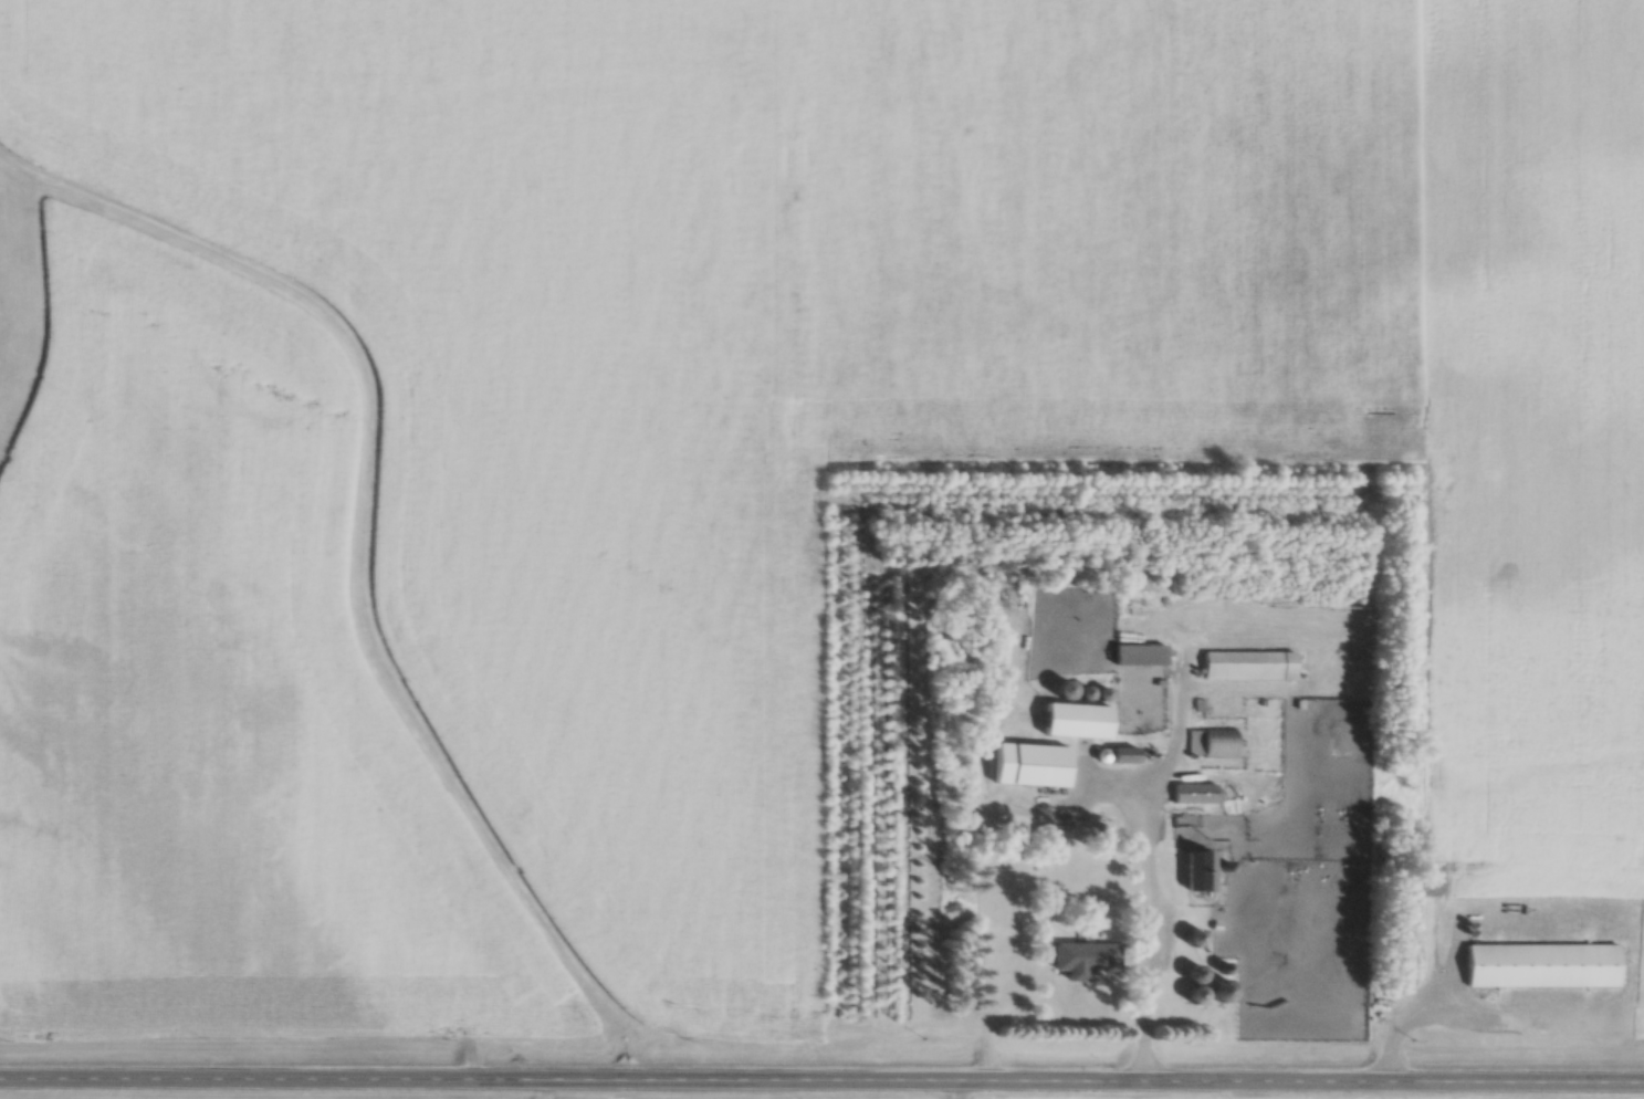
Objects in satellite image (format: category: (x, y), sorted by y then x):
building: (1140, 655)
building: (1249, 666)
building: (1064, 689)
building: (1077, 721)
building: (1212, 742)
building: (1030, 765)
building: (1194, 794)
road: (1145, 869)
building: (1201, 870)
building: (1195, 938)
building: (1087, 956)
building: (1542, 965)
building: (1195, 985)
building: (1223, 991)
road: (821, 1075)

